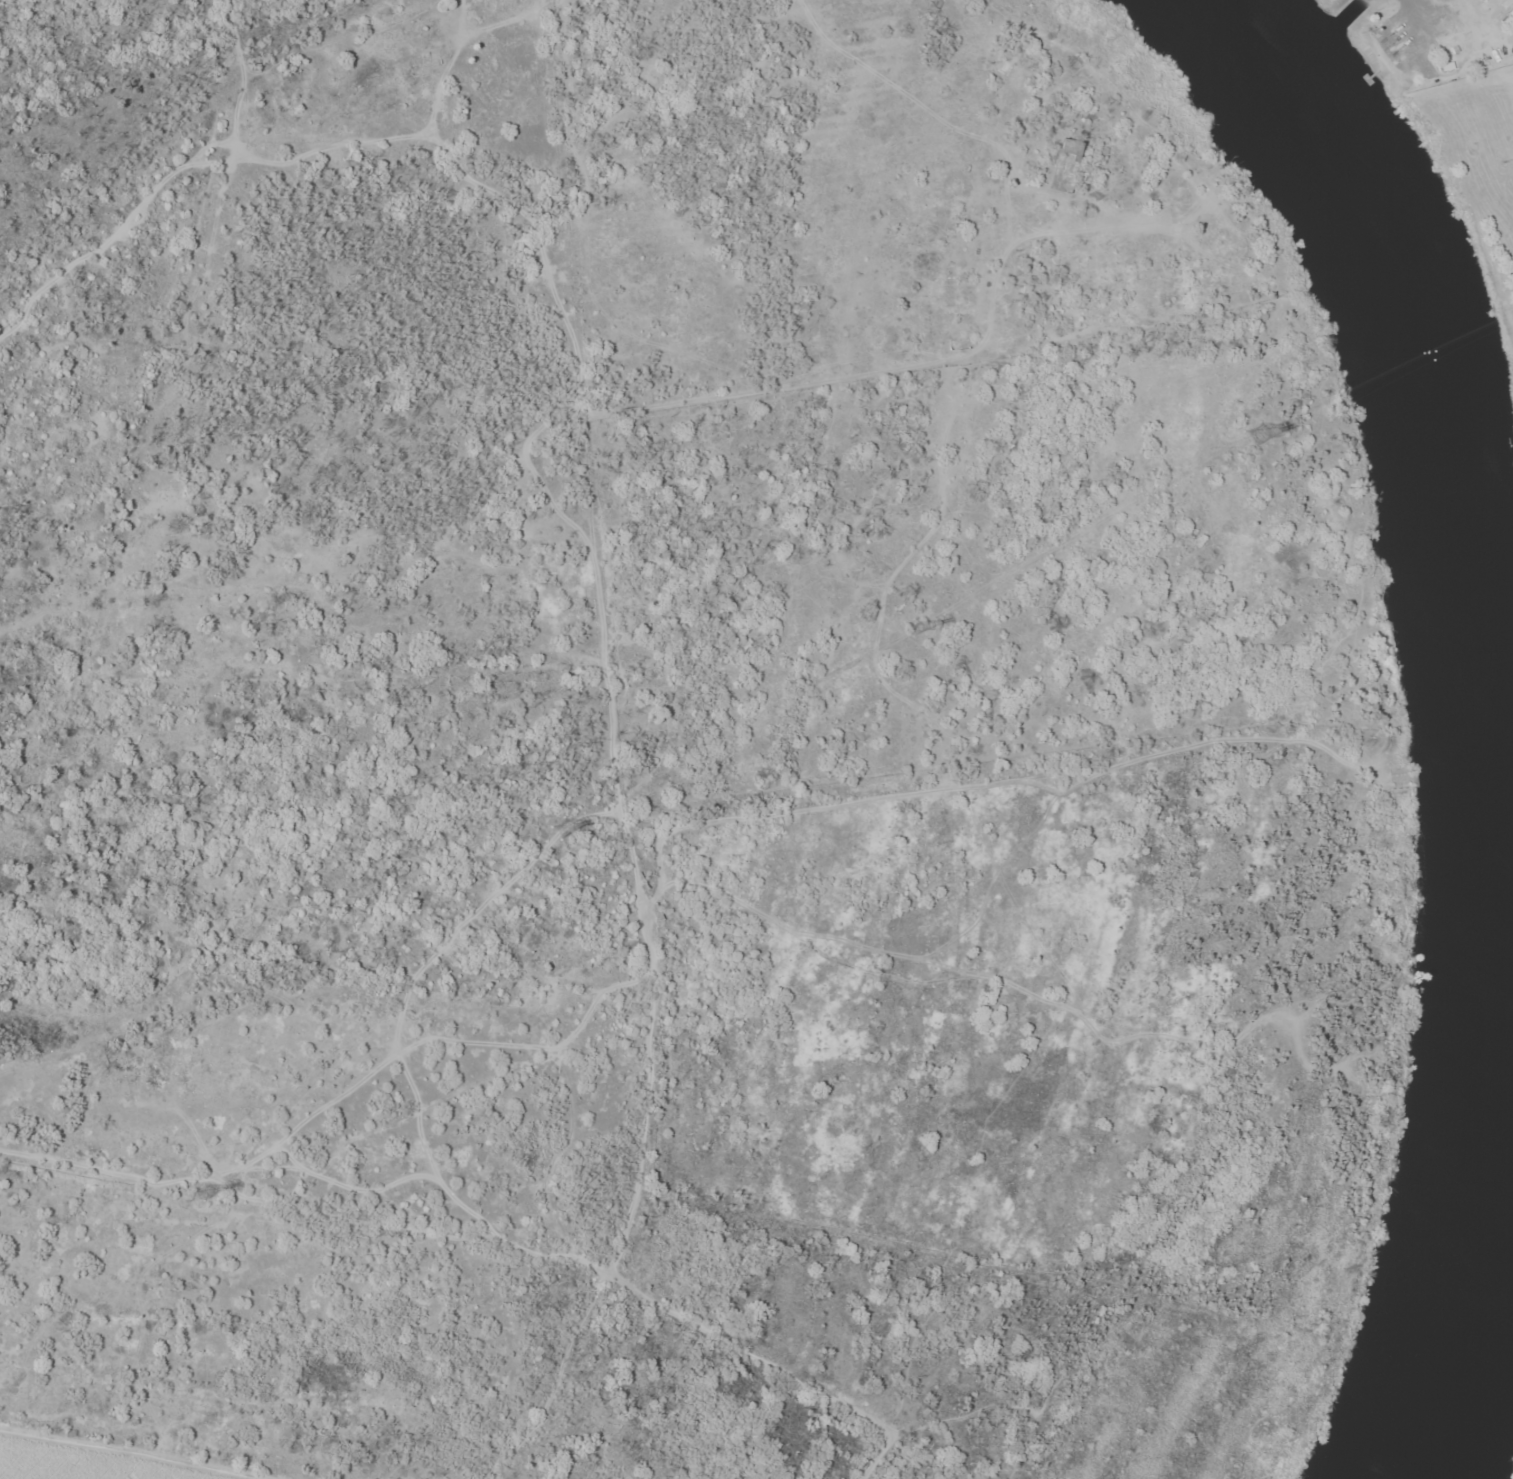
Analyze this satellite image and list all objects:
building: (1484, 0)
building: (1504, 2)
building: (1511, 12)
pier: (1369, 77)
power tower: (1261, 435)
river: (1455, 439)
power tower: (918, 632)
power tower: (565, 832)
power tower: (207, 1196)
river: (1485, 1283)
road: (868, 1458)

